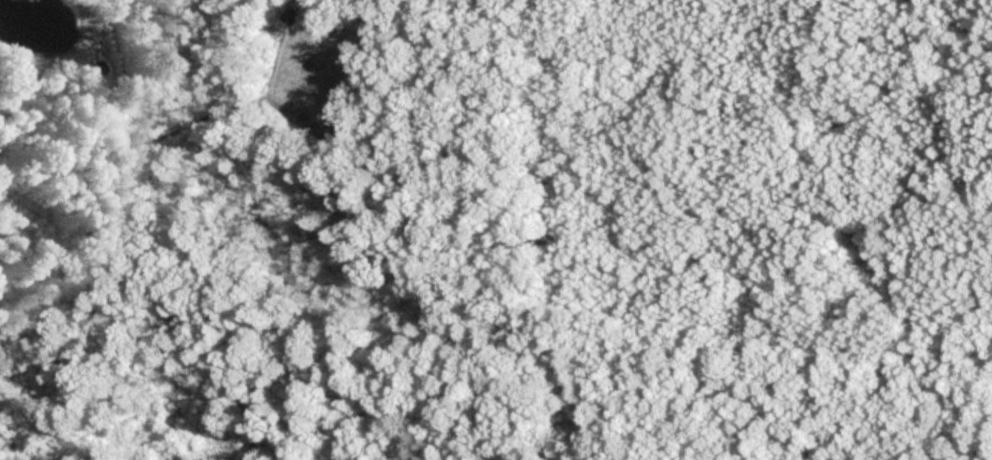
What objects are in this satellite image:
park: (526, 221)

